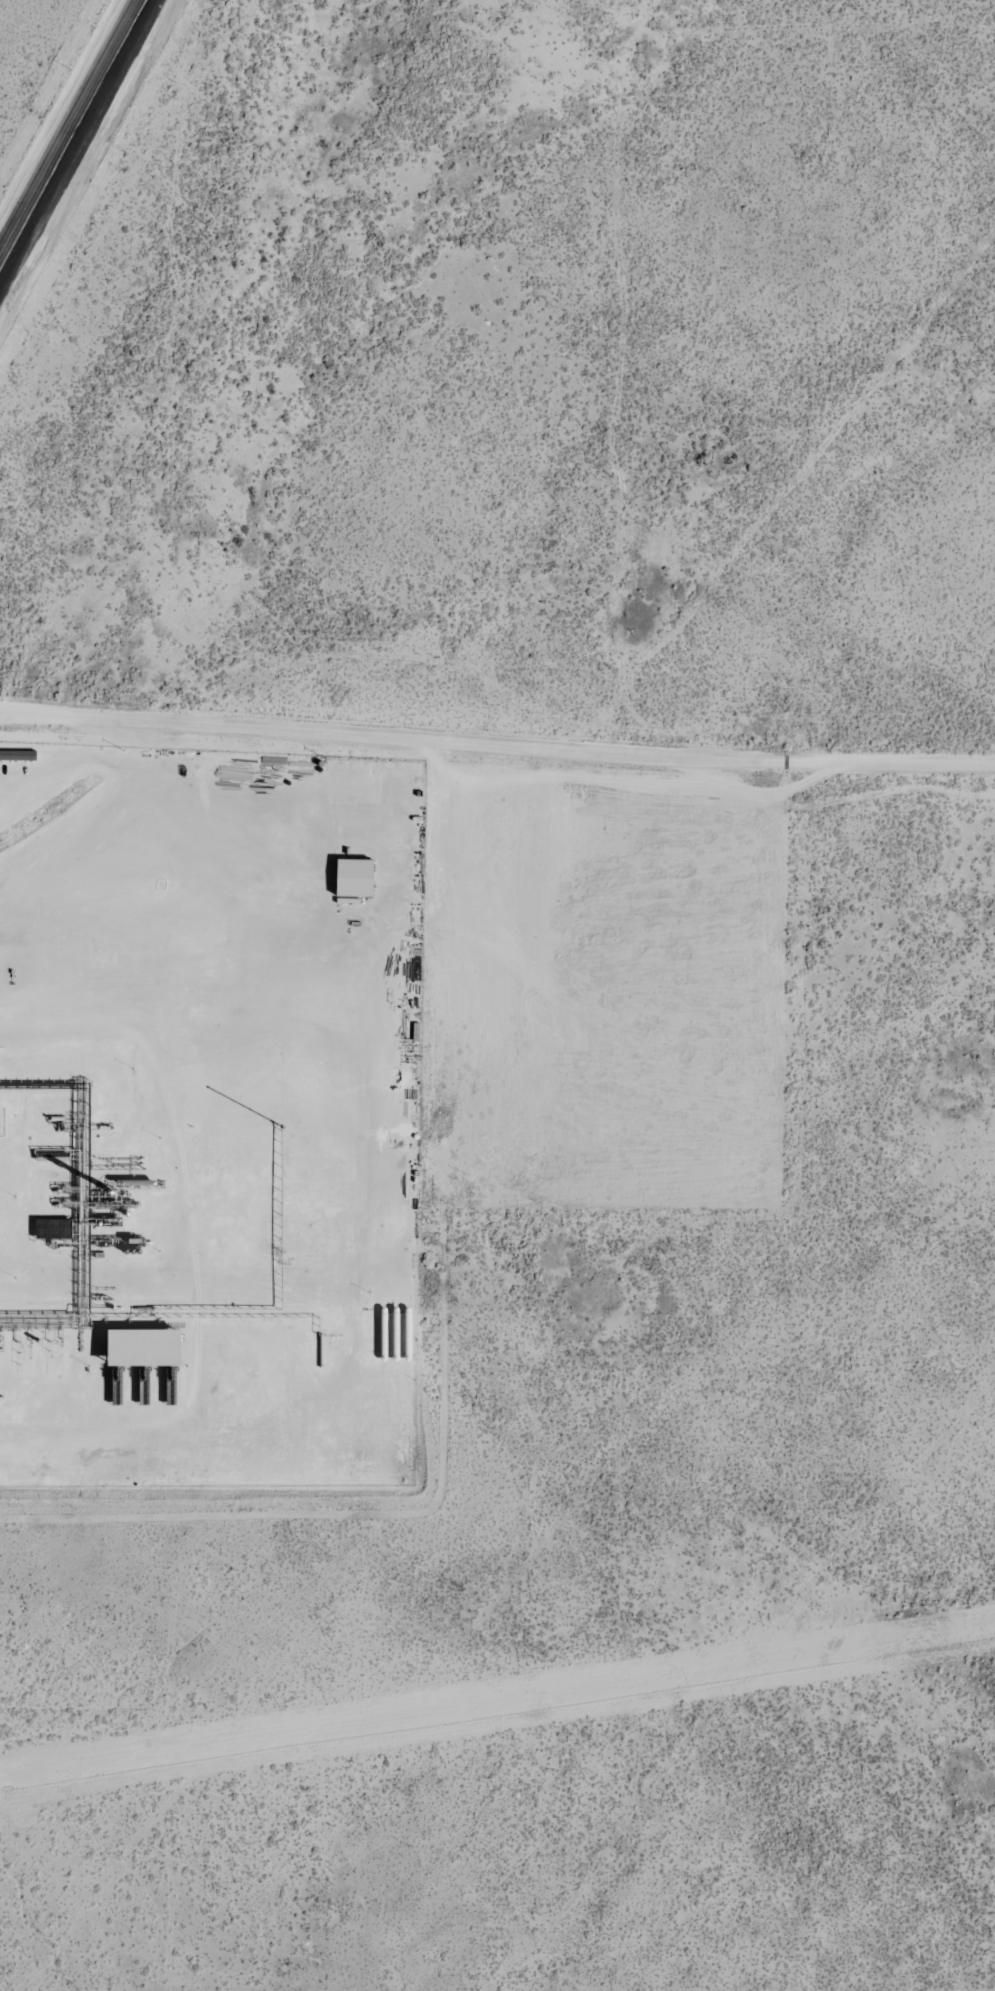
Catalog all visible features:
road: (73, 135)
road: (496, 756)
building: (359, 877)

